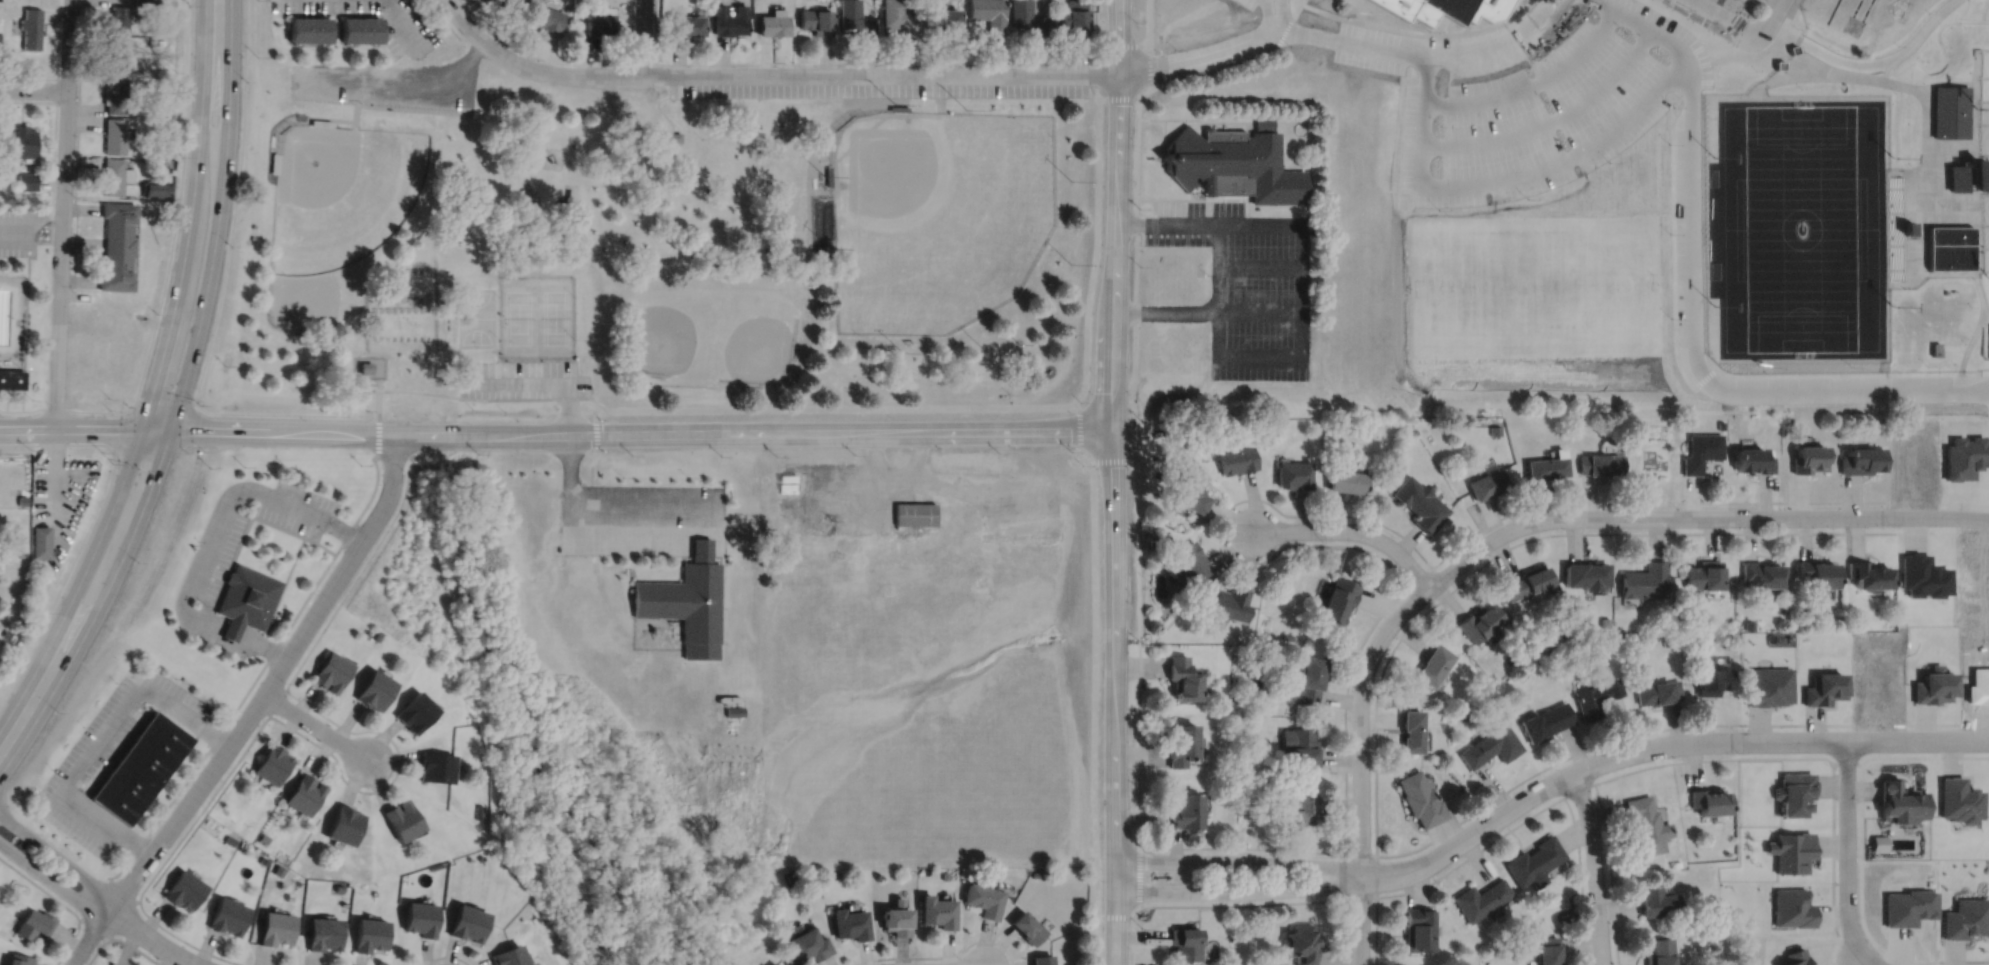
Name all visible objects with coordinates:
building: (0, 0)
road: (1301, 1)
building: (155, 2)
building: (507, 2)
building: (143, 3)
road: (1273, 3)
parking lot: (1249, 7)
park: (1856, 7)
building: (1444, 9)
park: (1866, 9)
road: (1790, 10)
track: (1832, 10)
road: (1329, 12)
building: (989, 14)
road: (218, 15)
building: (119, 17)
building: (901, 17)
building: (1027, 17)
building: (1073, 17)
road: (1275, 17)
road: (1727, 17)
building: (548, 18)
building: (856, 18)
road: (443, 19)
building: (728, 20)
building: (816, 21)
building: (944, 21)
building: (601, 22)
road: (404, 24)
building: (772, 24)
park: (1853, 24)
building: (686, 25)
parking lot: (1700, 25)
road: (1150, 26)
road: (1796, 26)
building: (32, 28)
building: (310, 30)
building: (362, 30)
road: (632, 31)
road: (655, 31)
parking lot: (413, 32)
road: (643, 36)
building: (152, 41)
road: (1344, 41)
building: (0, 42)
building: (160, 42)
road: (1701, 42)
parking lot: (1438, 48)
building: (1794, 49)
building: (118, 55)
road: (584, 63)
road: (915, 63)
road: (57, 66)
road: (768, 74)
road: (402, 77)
building: (151, 82)
parking lot: (386, 85)
road: (33, 89)
parking lot: (878, 89)
building: (116, 95)
building: (898, 106)
building: (836, 113)
road: (664, 114)
road: (1200, 118)
road: (1207, 122)
building: (1264, 122)
road: (1979, 123)
building: (317, 124)
road: (675, 129)
building: (115, 134)
building: (672, 135)
building: (0, 138)
road: (1970, 139)
building: (24, 142)
building: (166, 151)
road: (1980, 152)
building: (276, 157)
building: (1232, 163)
building: (1970, 171)
building: (114, 174)
building: (827, 174)
building: (28, 182)
park: (332, 184)
building: (156, 187)
road: (1970, 188)
road: (1190, 192)
road: (1979, 193)
road: (1196, 198)
building: (1743, 201)
road: (1207, 208)
road: (61, 211)
road: (1154, 211)
road: (1246, 211)
road: (1116, 212)
park: (935, 215)
road: (31, 220)
road: (1128, 223)
building: (252, 224)
road: (1980, 224)
parking lot: (16, 231)
building: (251, 236)
road: (50, 239)
building: (117, 244)
park: (1399, 244)
building: (1944, 246)
road: (1980, 247)
park: (650, 250)
building: (819, 252)
road: (1259, 265)
road: (166, 271)
parking lot: (1246, 283)
park: (311, 289)
building: (378, 295)
park: (25, 303)
park: (406, 305)
road: (1165, 309)
road: (1259, 309)
park: (475, 316)
park: (536, 316)
road: (1300, 318)
road: (497, 335)
road: (1942, 338)
building: (1934, 348)
road: (161, 357)
road: (1975, 363)
road: (187, 365)
building: (364, 366)
building: (11, 378)
parking lot: (522, 378)
road: (1985, 378)
road: (364, 381)
road: (524, 381)
road: (451, 394)
road: (376, 395)
road: (6, 399)
building: (1175, 400)
road: (597, 418)
road: (86, 424)
traffic signals: (141, 425)
traffic signals: (172, 425)
building: (1494, 429)
road: (642, 431)
road: (568, 440)
road: (1137, 440)
building: (1701, 450)
building: (1964, 456)
building: (1809, 458)
building: (1235, 459)
building: (1753, 460)
building: (1862, 460)
building: (1600, 463)
road: (55, 464)
building: (1546, 465)
road: (898, 474)
building: (1293, 474)
building: (1347, 481)
building: (1486, 482)
building: (805, 485)
building: (1186, 494)
building: (22, 499)
building: (1418, 503)
road: (632, 504)
parking lot: (296, 507)
building: (914, 513)
road: (1305, 514)
parking lot: (635, 516)
road: (1543, 519)
road: (1352, 530)
road: (208, 537)
building: (1153, 540)
building: (41, 541)
road: (606, 543)
road: (1512, 545)
building: (21, 553)
parking lot: (225, 556)
building: (1189, 561)
building: (1761, 574)
building: (1816, 574)
building: (1586, 575)
building: (1703, 575)
building: (1867, 575)
building: (1922, 576)
building: (1644, 581)
building: (1529, 583)
building: (246, 596)
building: (1336, 600)
building: (688, 601)
building: (1230, 604)
building: (1478, 622)
building: (1605, 622)
building: (1748, 624)
building: (230, 629)
building: (1556, 629)
building: (5, 633)
building: (378, 635)
building: (1287, 636)
building: (1734, 641)
building: (1525, 645)
building: (1552, 648)
road: (266, 659)
building: (1432, 665)
building: (330, 672)
building: (1181, 679)
building: (1306, 680)
building: (1713, 681)
building: (1768, 687)
building: (1933, 687)
building: (1822, 689)
building: (374, 690)
building: (1657, 693)
road: (1114, 694)
building: (1596, 697)
building: (1233, 704)
road: (253, 708)
road: (25, 710)
building: (734, 711)
building: (416, 712)
building: (1544, 723)
road: (314, 726)
building: (1410, 731)
road: (102, 738)
building: (1182, 744)
building: (1490, 746)
road: (1658, 746)
building: (1298, 748)
parking lot: (112, 752)
building: (271, 762)
building: (436, 764)
building: (139, 765)
road: (1511, 786)
road: (357, 789)
building: (1793, 790)
building: (303, 791)
building: (1708, 798)
building: (1960, 798)
building: (1419, 800)
building: (1899, 800)
building: (1298, 811)
building: (1185, 812)
road: (1528, 816)
building: (402, 817)
building: (343, 822)
building: (1646, 824)
building: (1249, 832)
building: (229, 838)
road: (1846, 847)
road: (1862, 847)
building: (1792, 850)
road: (58, 857)
building: (1535, 860)
road: (1238, 861)
road: (1595, 867)
building: (278, 869)
road: (1610, 872)
building: (1035, 873)
building: (945, 874)
building: (790, 876)
road: (1580, 879)
road: (51, 880)
building: (183, 887)
building: (338, 887)
road: (121, 889)
building: (904, 890)
road: (1238, 891)
building: (1481, 897)
building: (985, 898)
road: (93, 899)
building: (1656, 899)
road: (61, 902)
building: (1909, 905)
building: (1792, 906)
building: (938, 909)
building: (226, 914)
road: (120, 916)
building: (420, 916)
building: (897, 916)
building: (1966, 917)
road: (1360, 920)
building: (33, 921)
building: (468, 921)
building: (850, 922)
building: (1028, 925)
road: (95, 926)
building: (274, 926)
building: (1417, 927)
building: (323, 931)
road: (1345, 931)
building: (369, 932)
road: (151, 938)
road: (121, 939)
building: (1186, 941)
building: (1302, 942)
building: (807, 944)
building: (1547, 949)
building: (1659, 952)
road: (447, 955)
building: (509, 955)
road: (940, 956)
building: (1044, 958)
road: (1870, 958)
building: (19, 959)
building: (773, 963)
building: (112, 964)
building: (777, 964)

